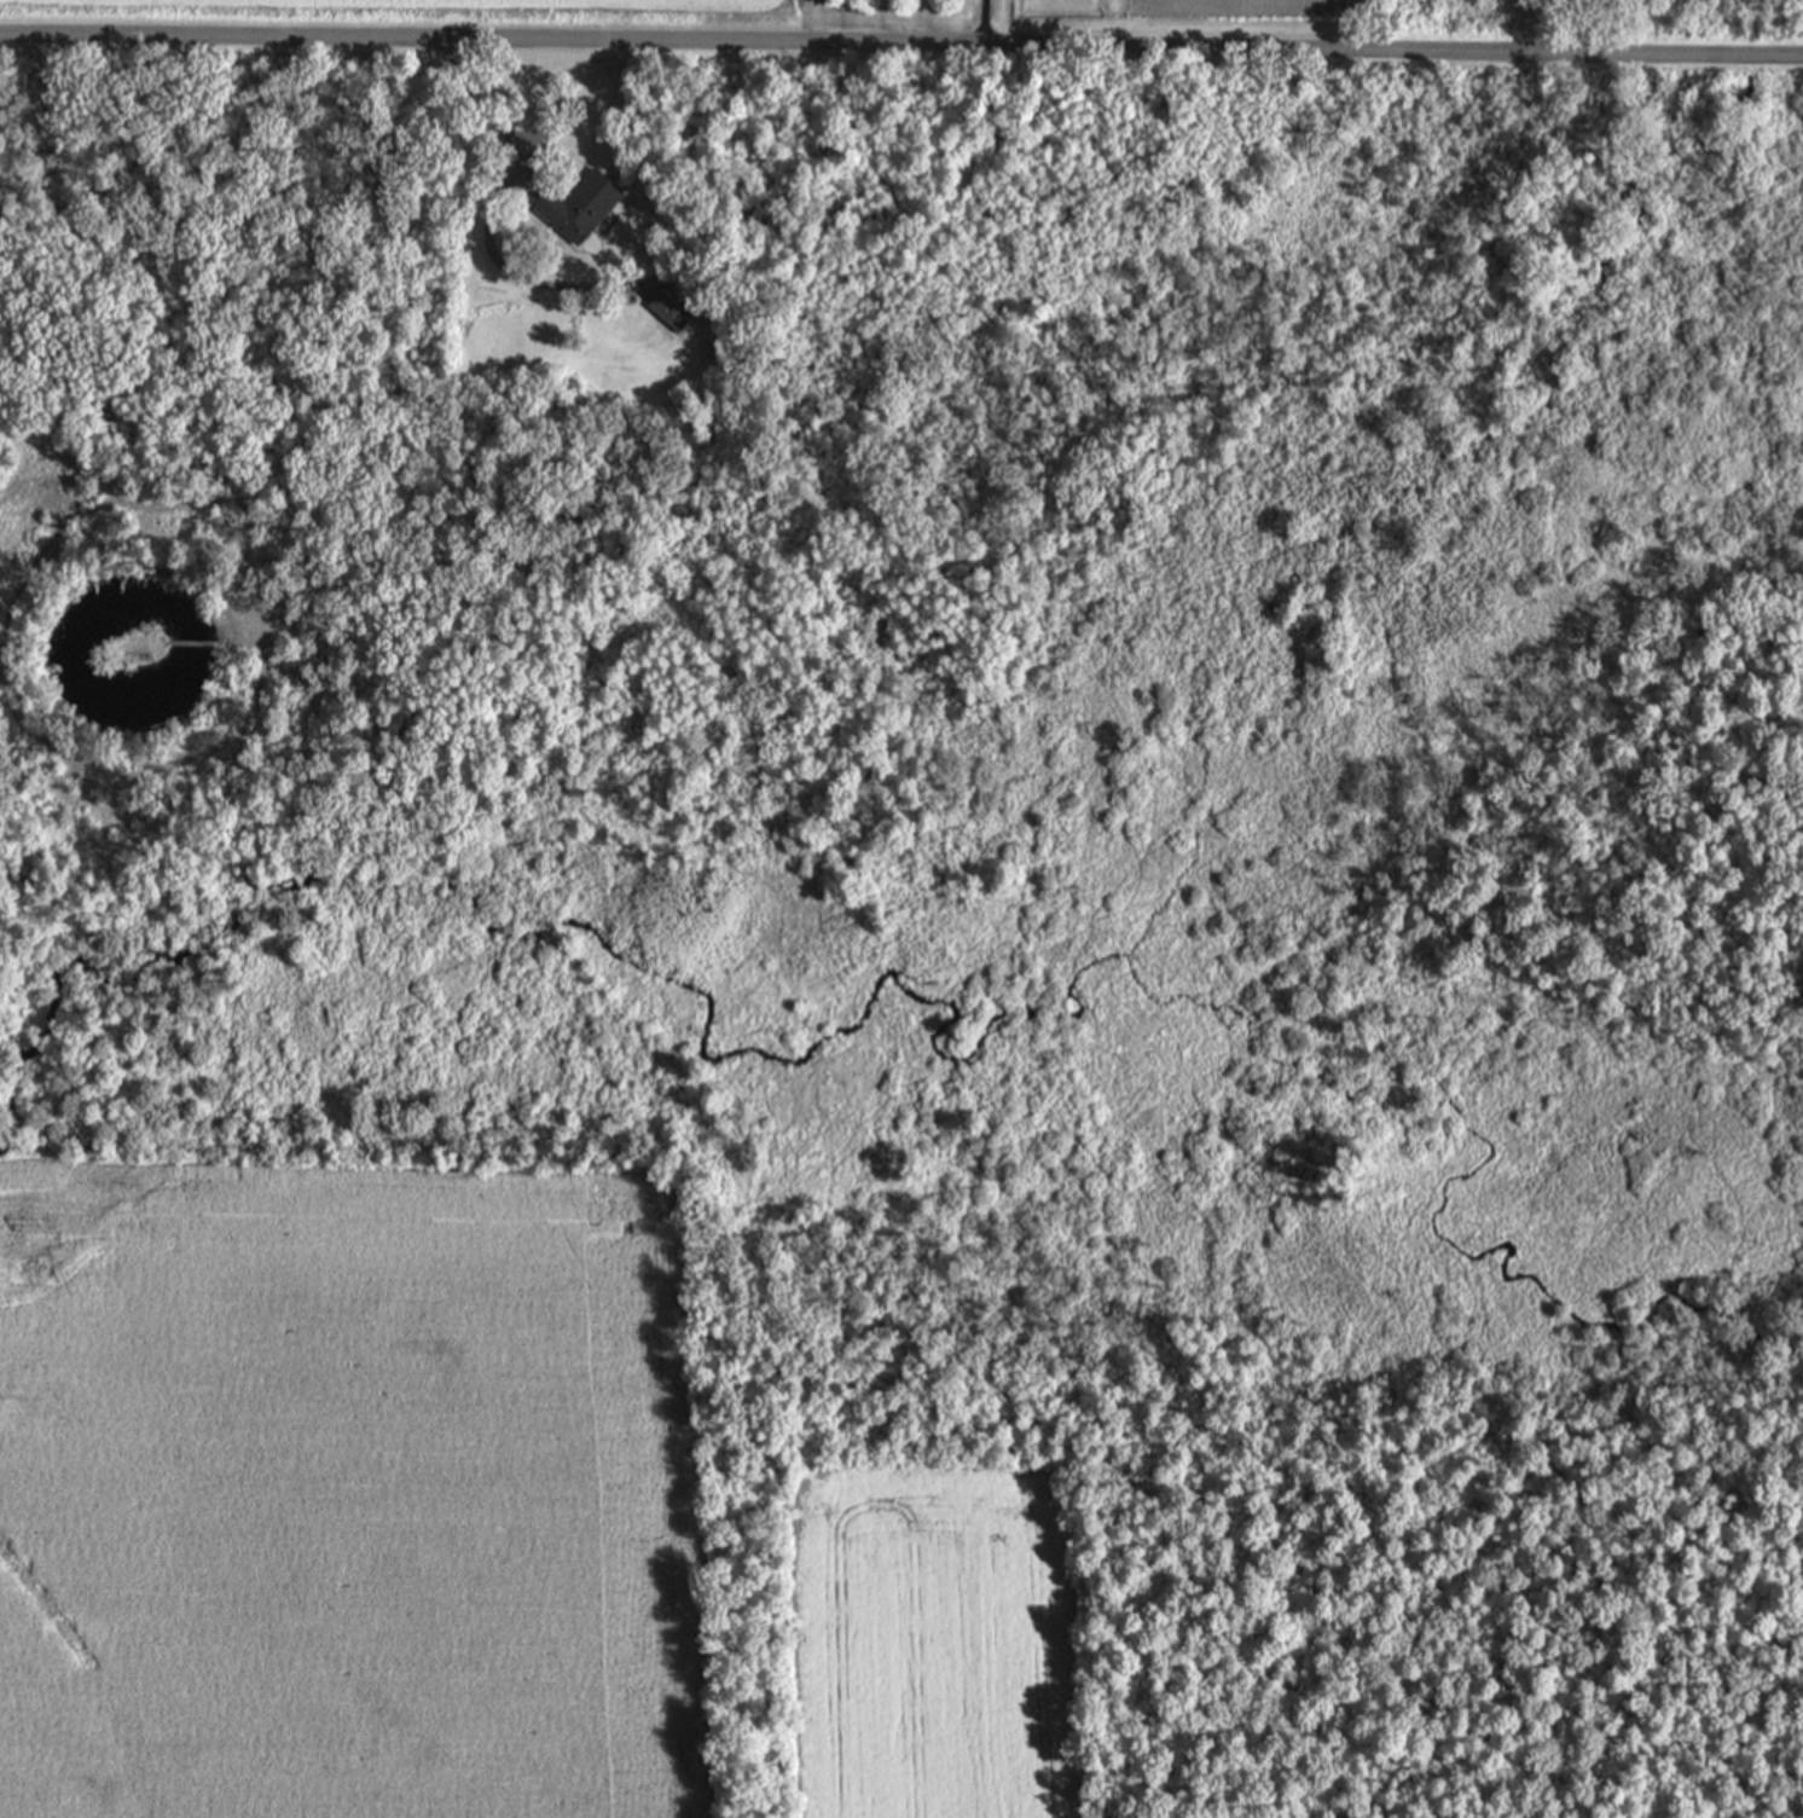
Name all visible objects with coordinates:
road: (902, 41)
building: (578, 205)
road: (489, 219)
building: (669, 308)
road: (314, 424)
road: (191, 642)

